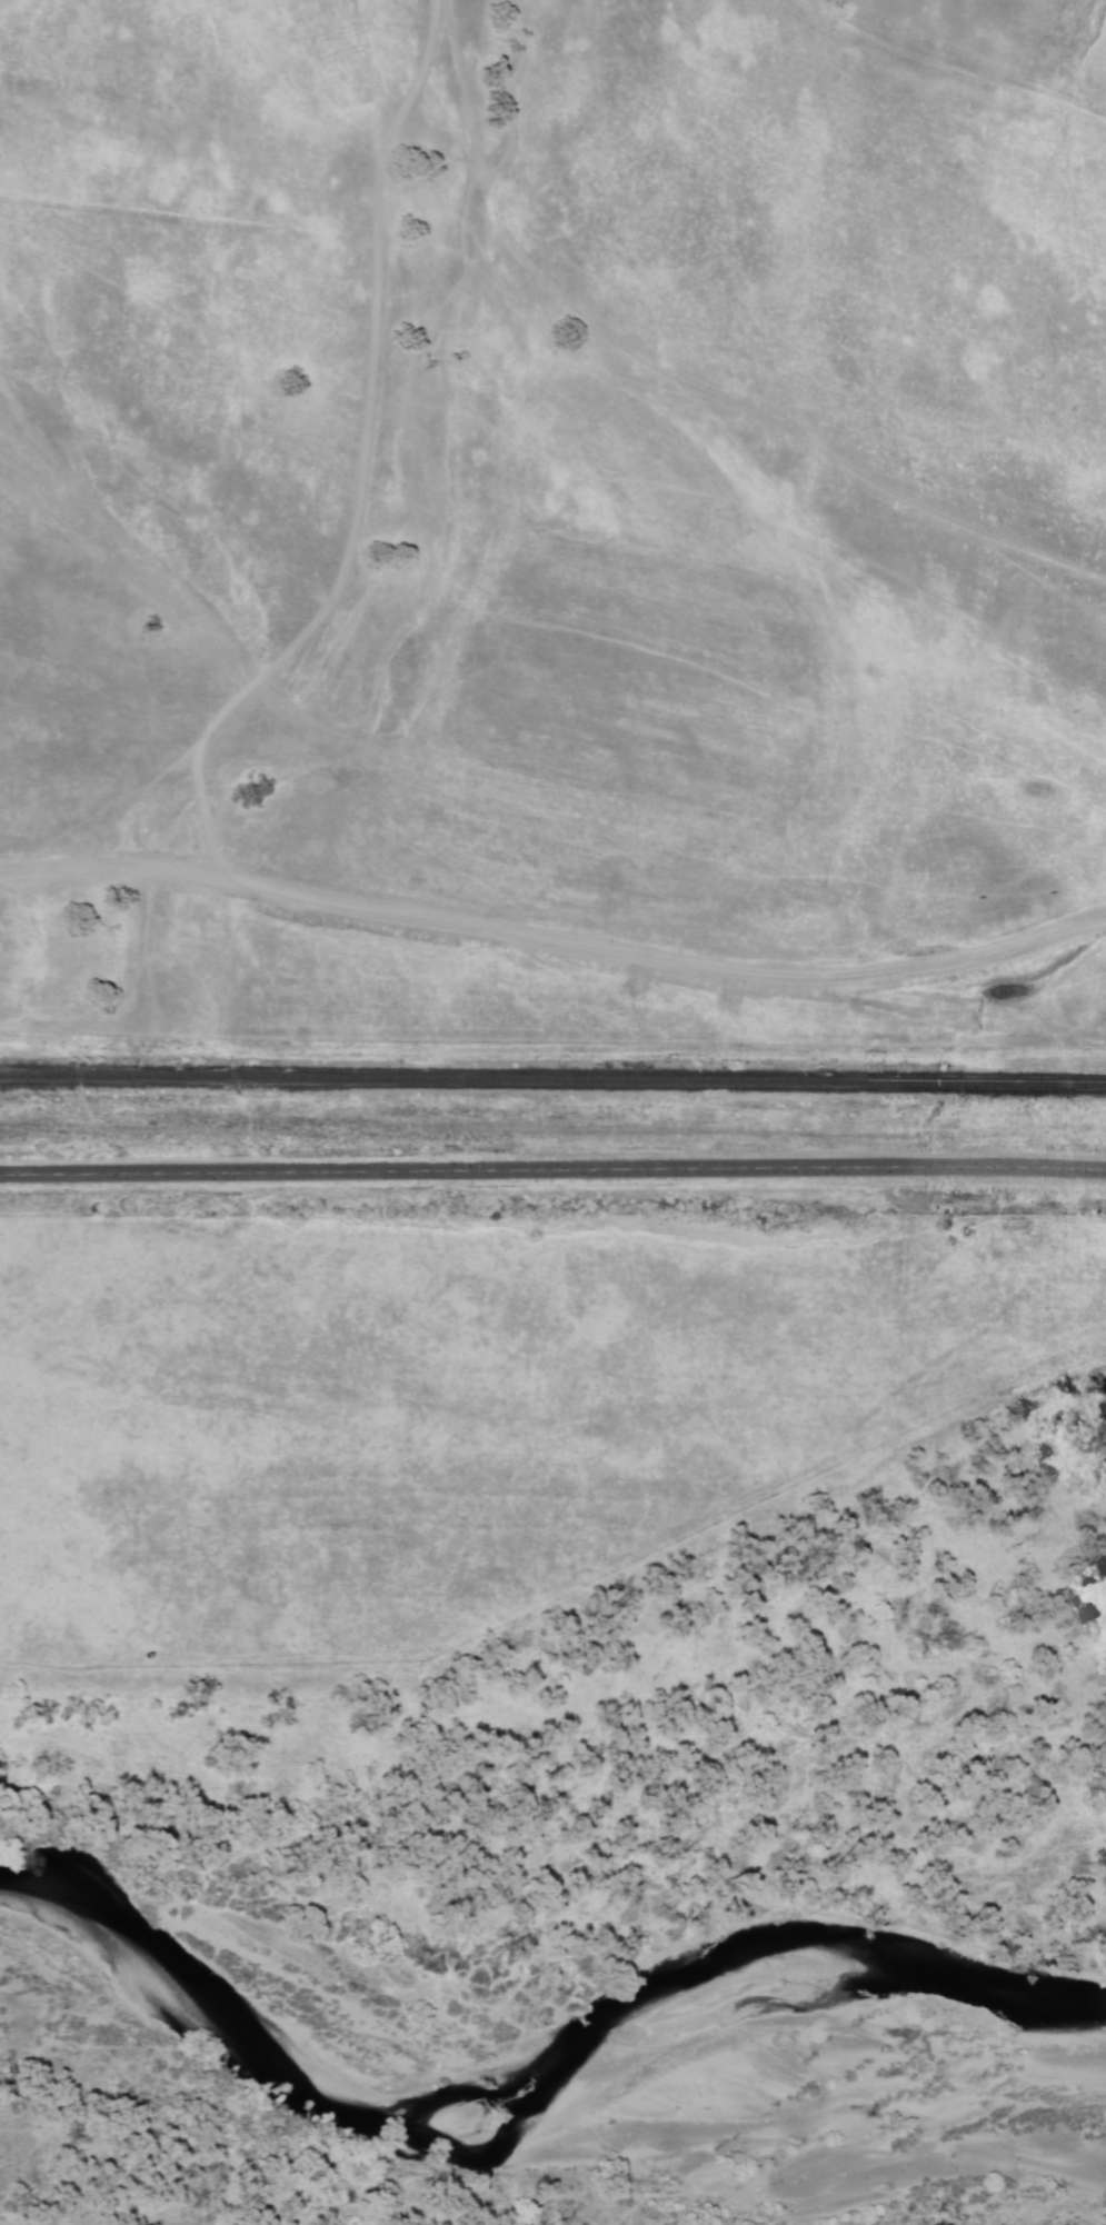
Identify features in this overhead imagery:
road: (1062, 13)
road: (331, 598)
road: (555, 939)
railway: (552, 1081)
road: (552, 1170)
park: (578, 1565)
river: (143, 2028)
river: (48, 2044)
river: (612, 2126)

